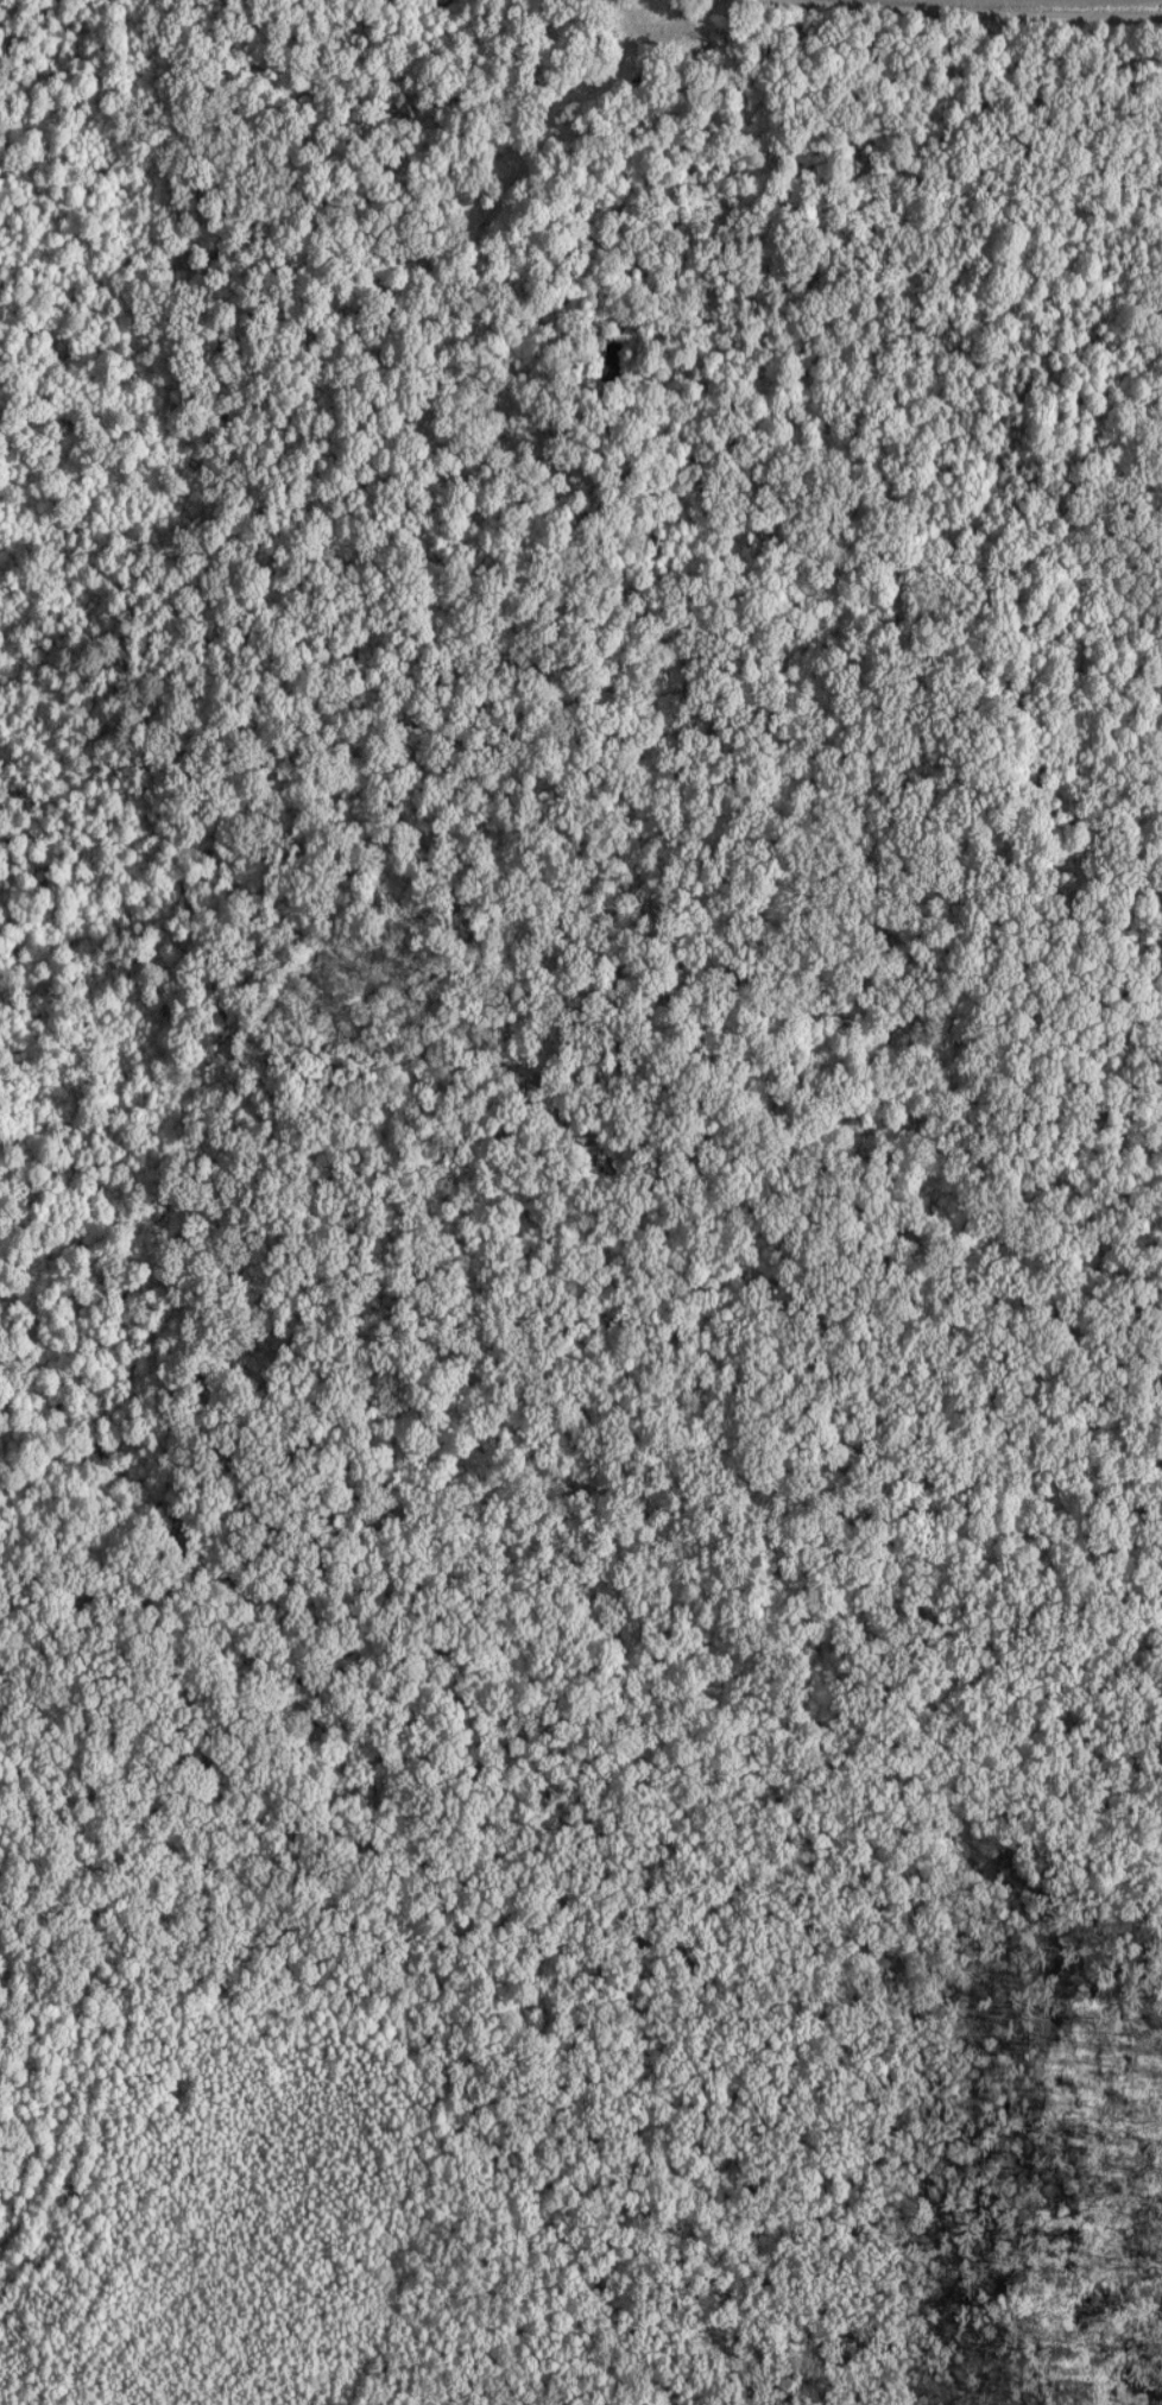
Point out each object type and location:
road: (964, 10)

